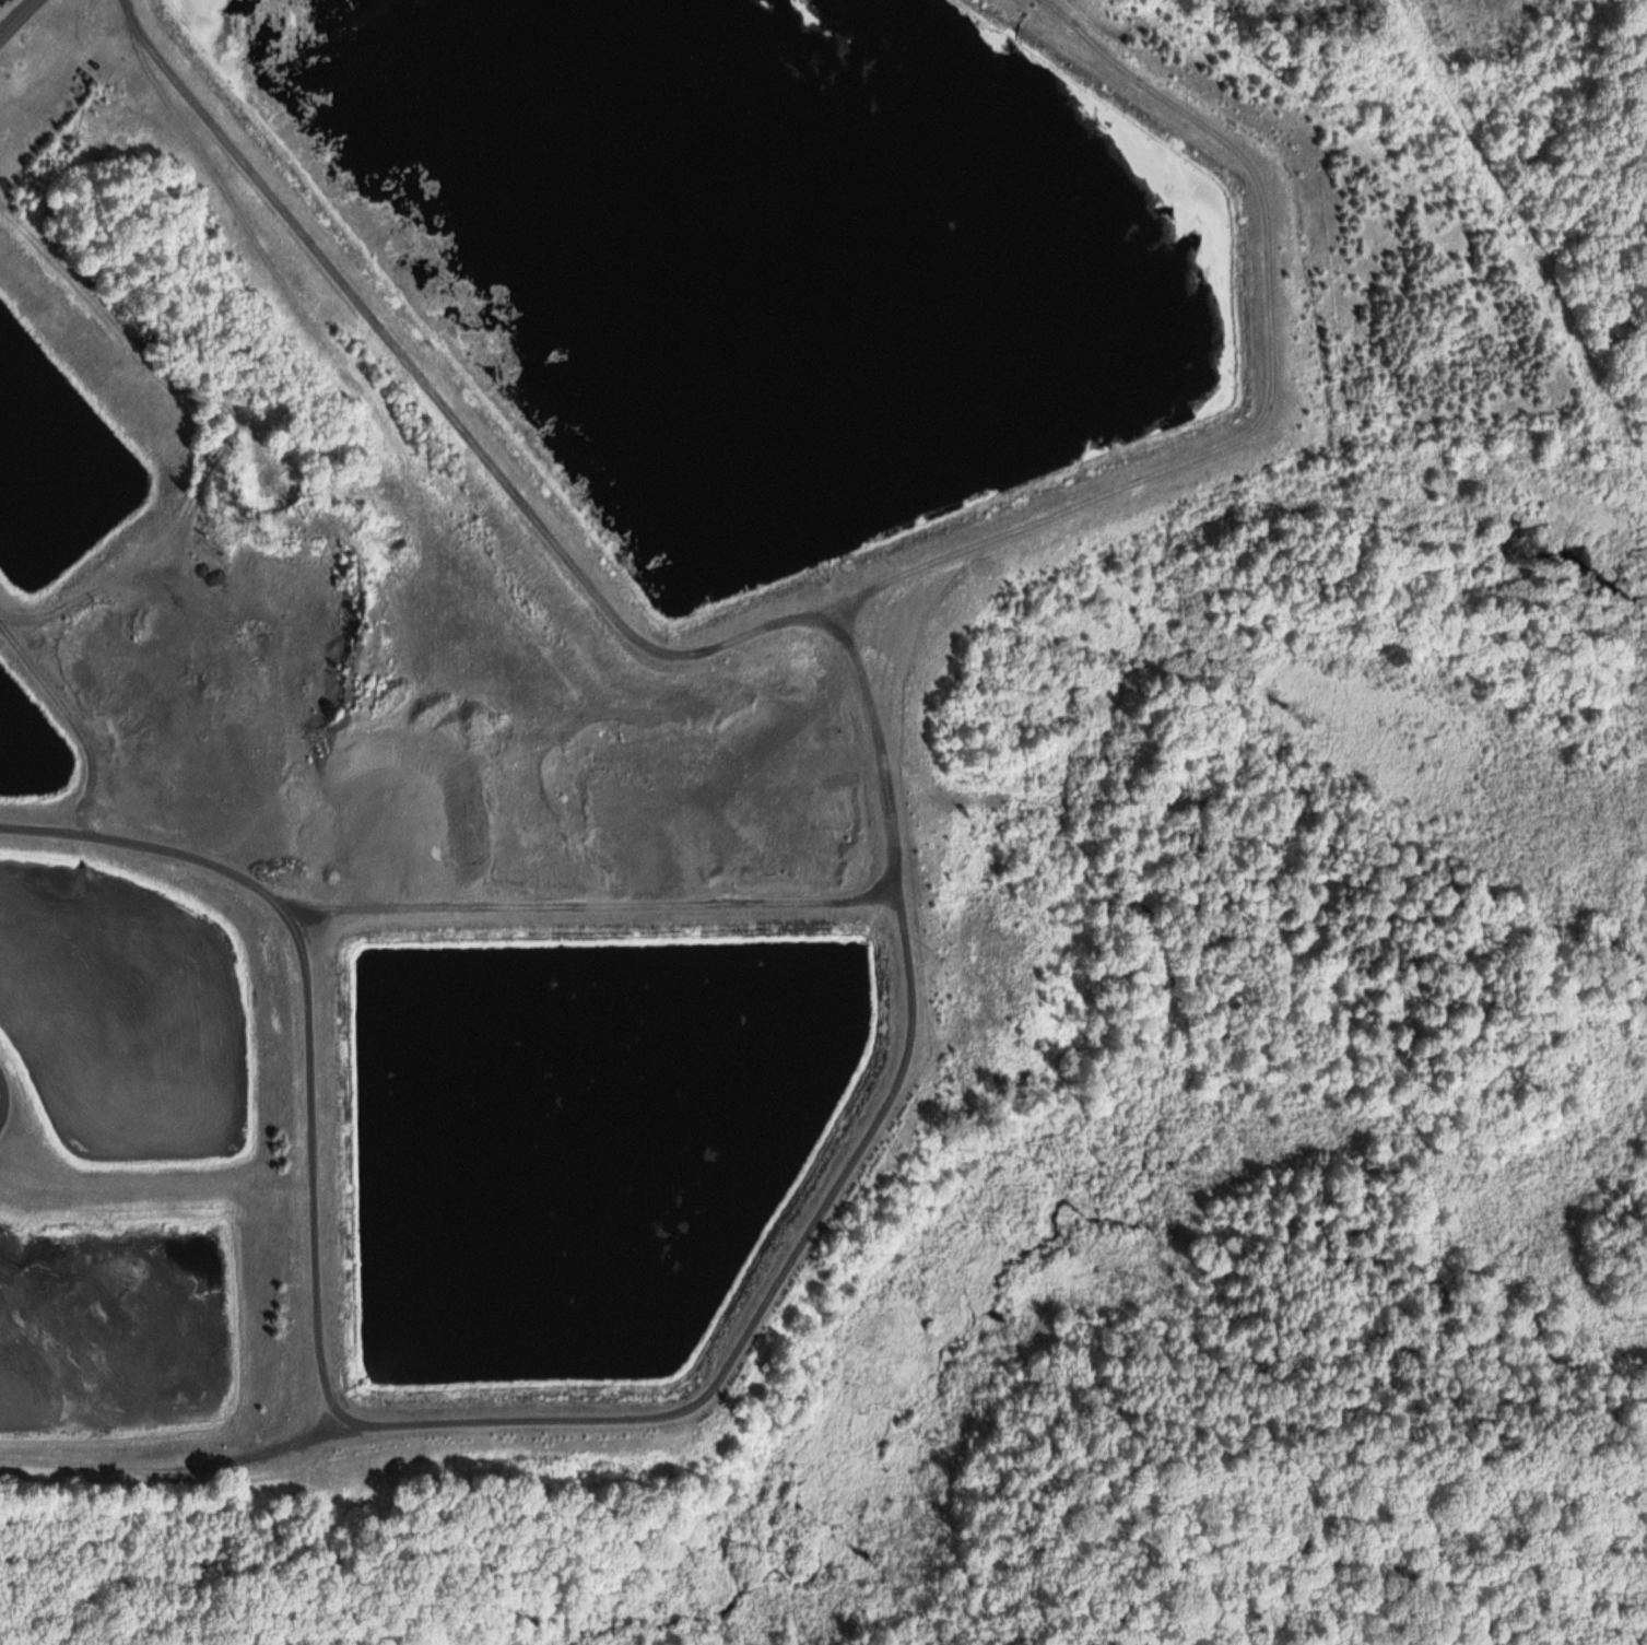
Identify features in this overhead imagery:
road: (20, 22)
road: (230, 430)
road: (815, 610)
road: (54, 833)
road: (586, 905)
road: (3, 1090)
road: (153, 1178)
road: (479, 1423)
road: (179, 1466)

